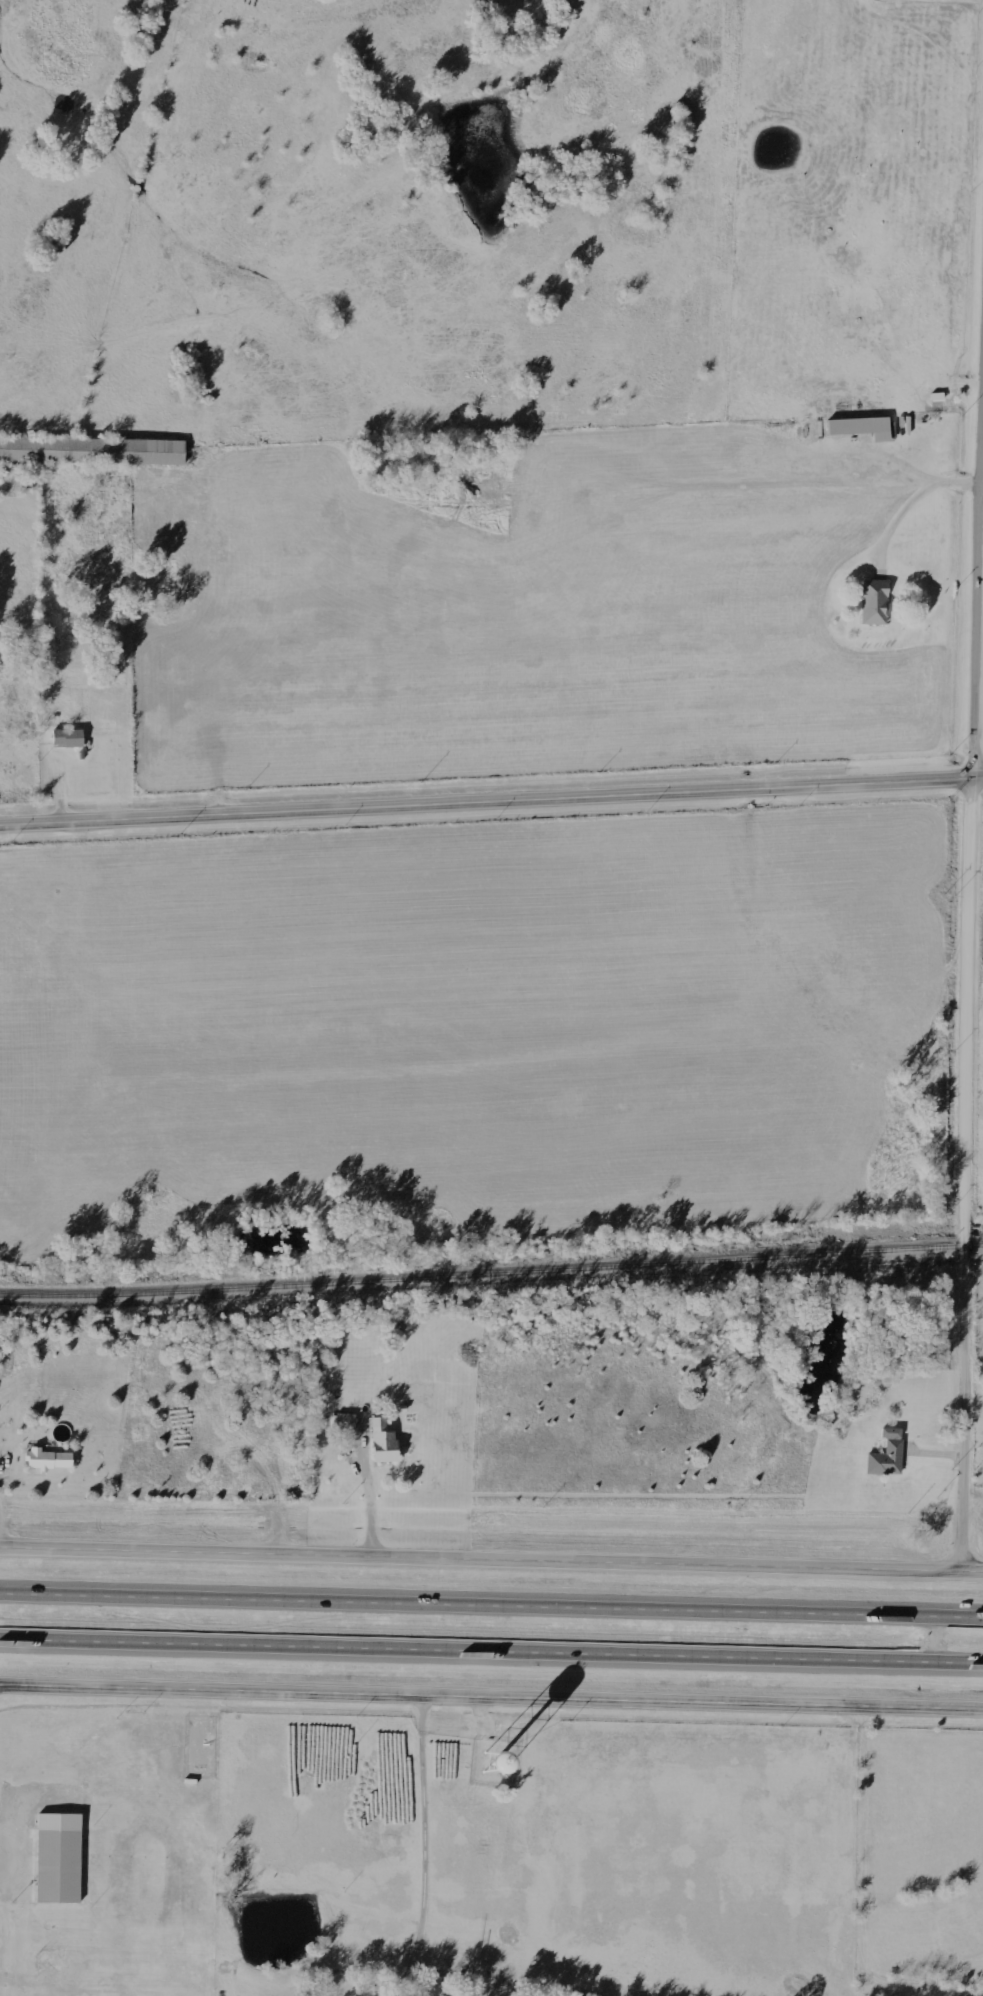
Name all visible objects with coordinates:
building: (858, 430)
building: (93, 452)
road: (909, 464)
road: (982, 481)
road: (911, 499)
building: (870, 605)
building: (64, 741)
road: (491, 803)
road: (967, 995)
railway: (491, 1276)
building: (342, 1426)
building: (380, 1448)
building: (884, 1457)
building: (44, 1461)
road: (369, 1494)
road: (491, 1558)
road: (491, 1607)
road: (936, 1642)
road: (491, 1653)
road: (491, 1698)
water tower: (497, 1750)
road: (426, 1848)
building: (54, 1868)
road: (861, 1894)

